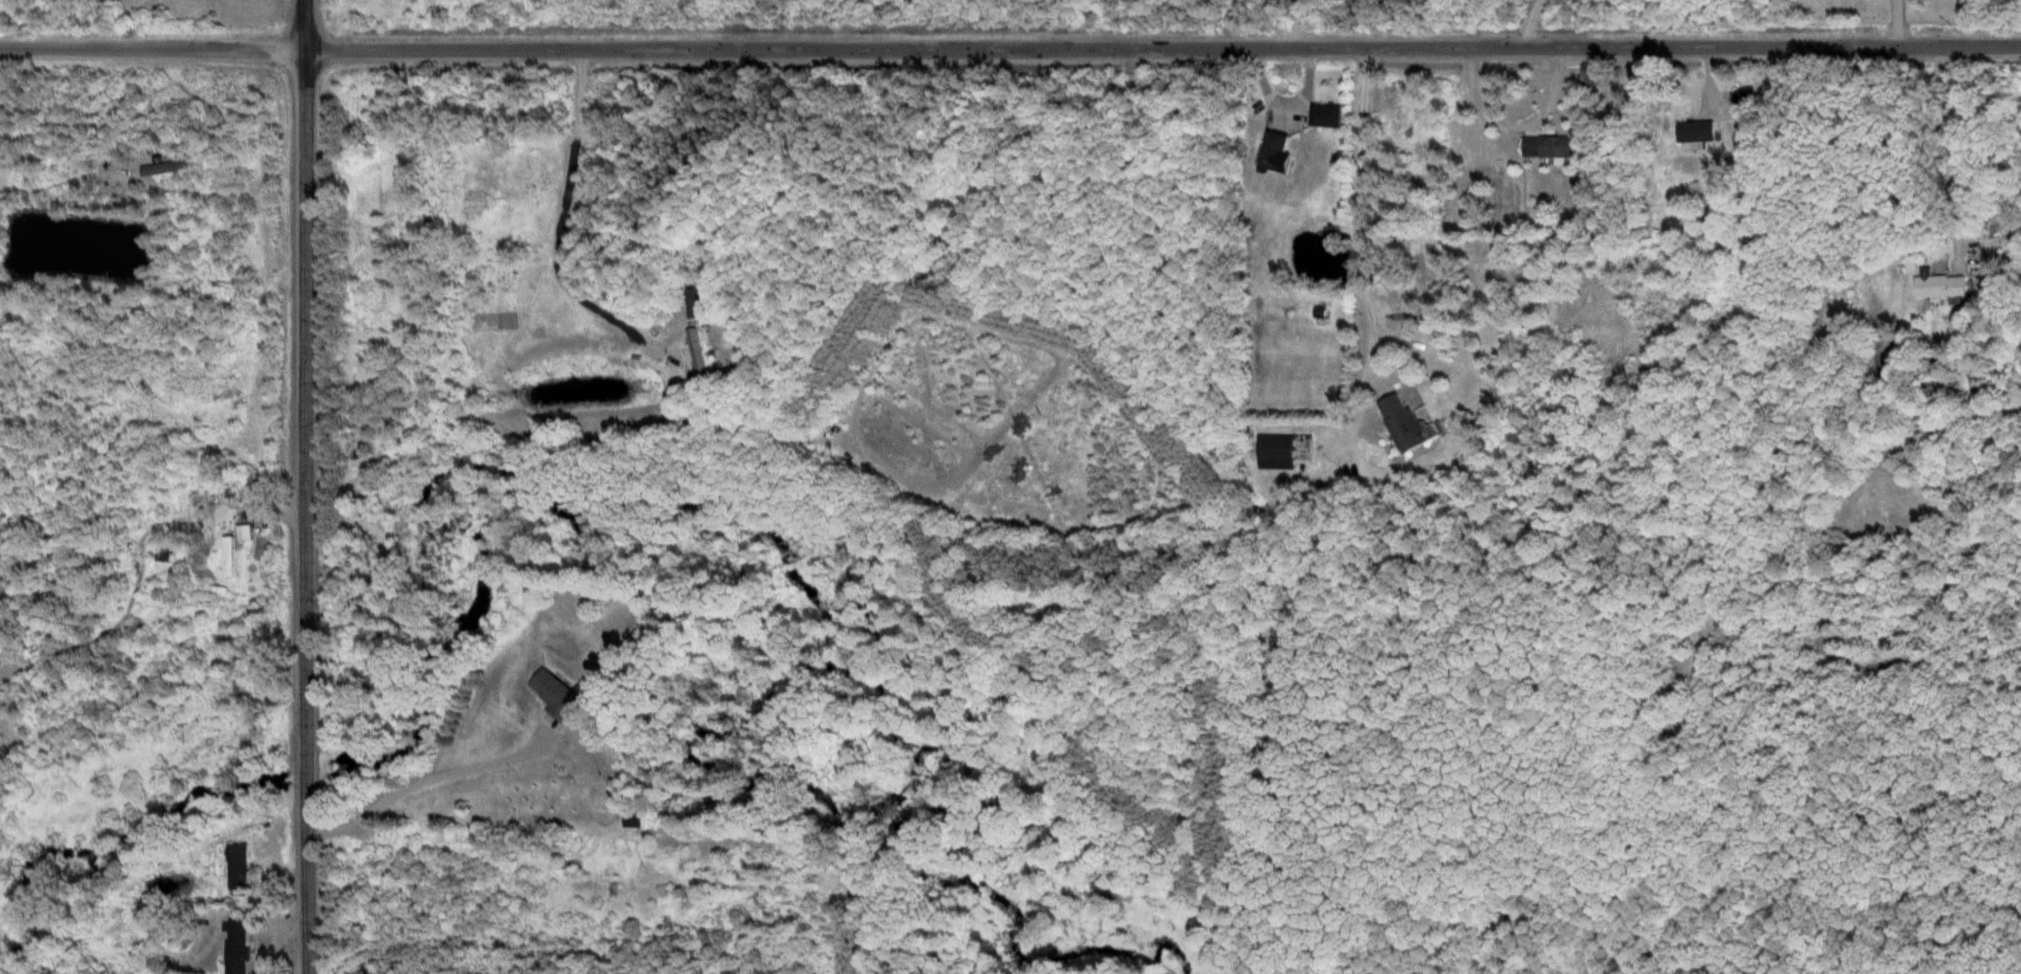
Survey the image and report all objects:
road: (1528, 24)
road: (1898, 24)
road: (1010, 45)
building: (1747, 103)
building: (1329, 117)
building: (1704, 136)
building: (1553, 147)
road: (1944, 148)
building: (1279, 151)
road: (560, 210)
building: (1944, 286)
building: (704, 303)
building: (702, 354)
building: (1409, 425)
building: (1282, 453)
road: (302, 486)
building: (232, 554)
building: (559, 697)
road: (425, 778)
building: (243, 866)
building: (240, 947)

